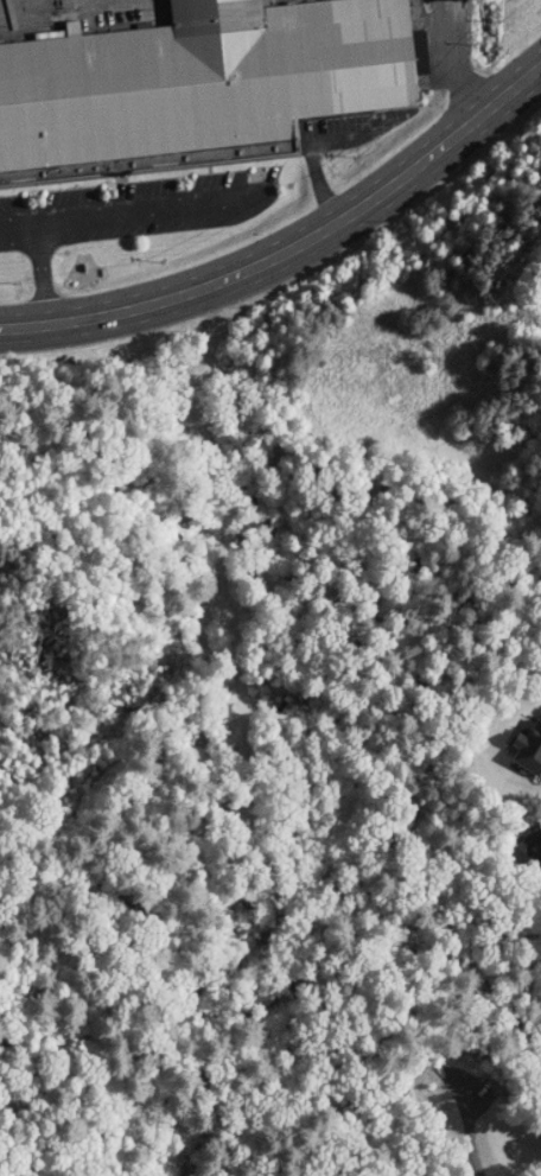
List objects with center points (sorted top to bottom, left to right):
road: (448, 59)
building: (199, 81)
road: (317, 182)
road: (250, 198)
road: (15, 210)
road: (18, 234)
road: (293, 243)
road: (39, 267)
building: (536, 847)

